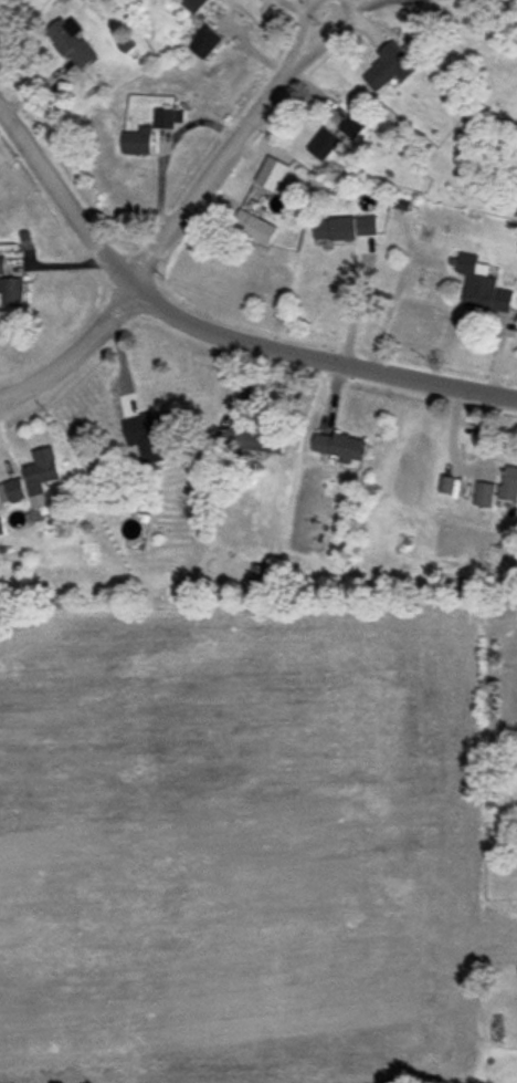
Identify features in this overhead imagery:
building: (193, 4)
road: (303, 27)
road: (331, 34)
building: (205, 41)
building: (73, 42)
building: (390, 66)
building: (168, 117)
building: (138, 140)
building: (324, 144)
road: (160, 148)
road: (213, 167)
building: (273, 173)
road: (48, 176)
building: (346, 227)
building: (260, 230)
building: (2, 264)
building: (483, 285)
building: (12, 291)
road: (354, 306)
road: (289, 352)
road: (75, 353)
building: (148, 434)
building: (254, 440)
building: (340, 446)
building: (41, 475)
building: (445, 483)
building: (509, 485)
building: (11, 490)
building: (484, 493)
building: (502, 614)

